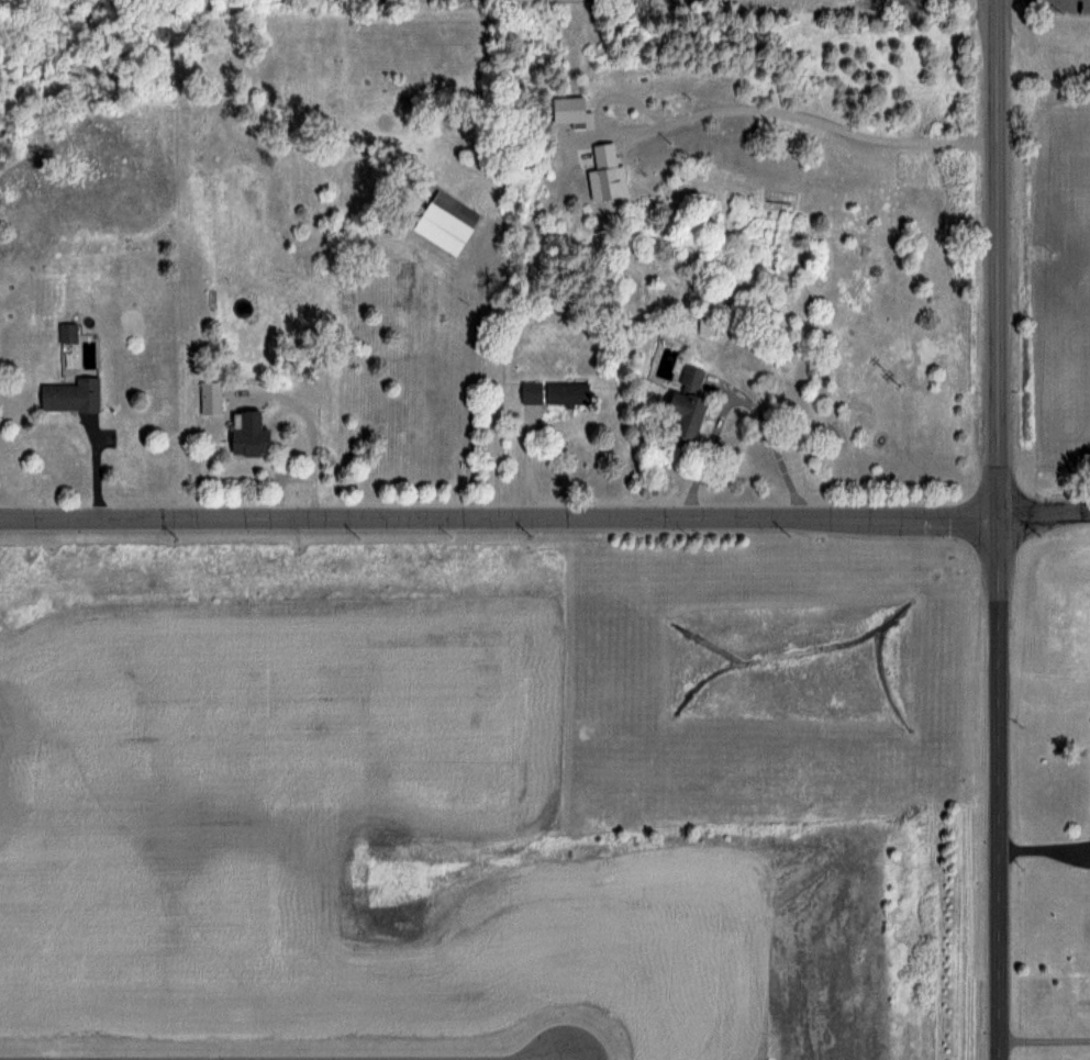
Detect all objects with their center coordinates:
road: (801, 108)
building: (445, 221)
road: (997, 257)
building: (708, 326)
building: (65, 332)
building: (525, 393)
building: (565, 393)
building: (68, 394)
road: (266, 394)
building: (209, 397)
building: (685, 403)
building: (246, 433)
road: (84, 472)
road: (1045, 513)
road: (499, 520)
road: (1000, 786)
road: (1045, 1037)

